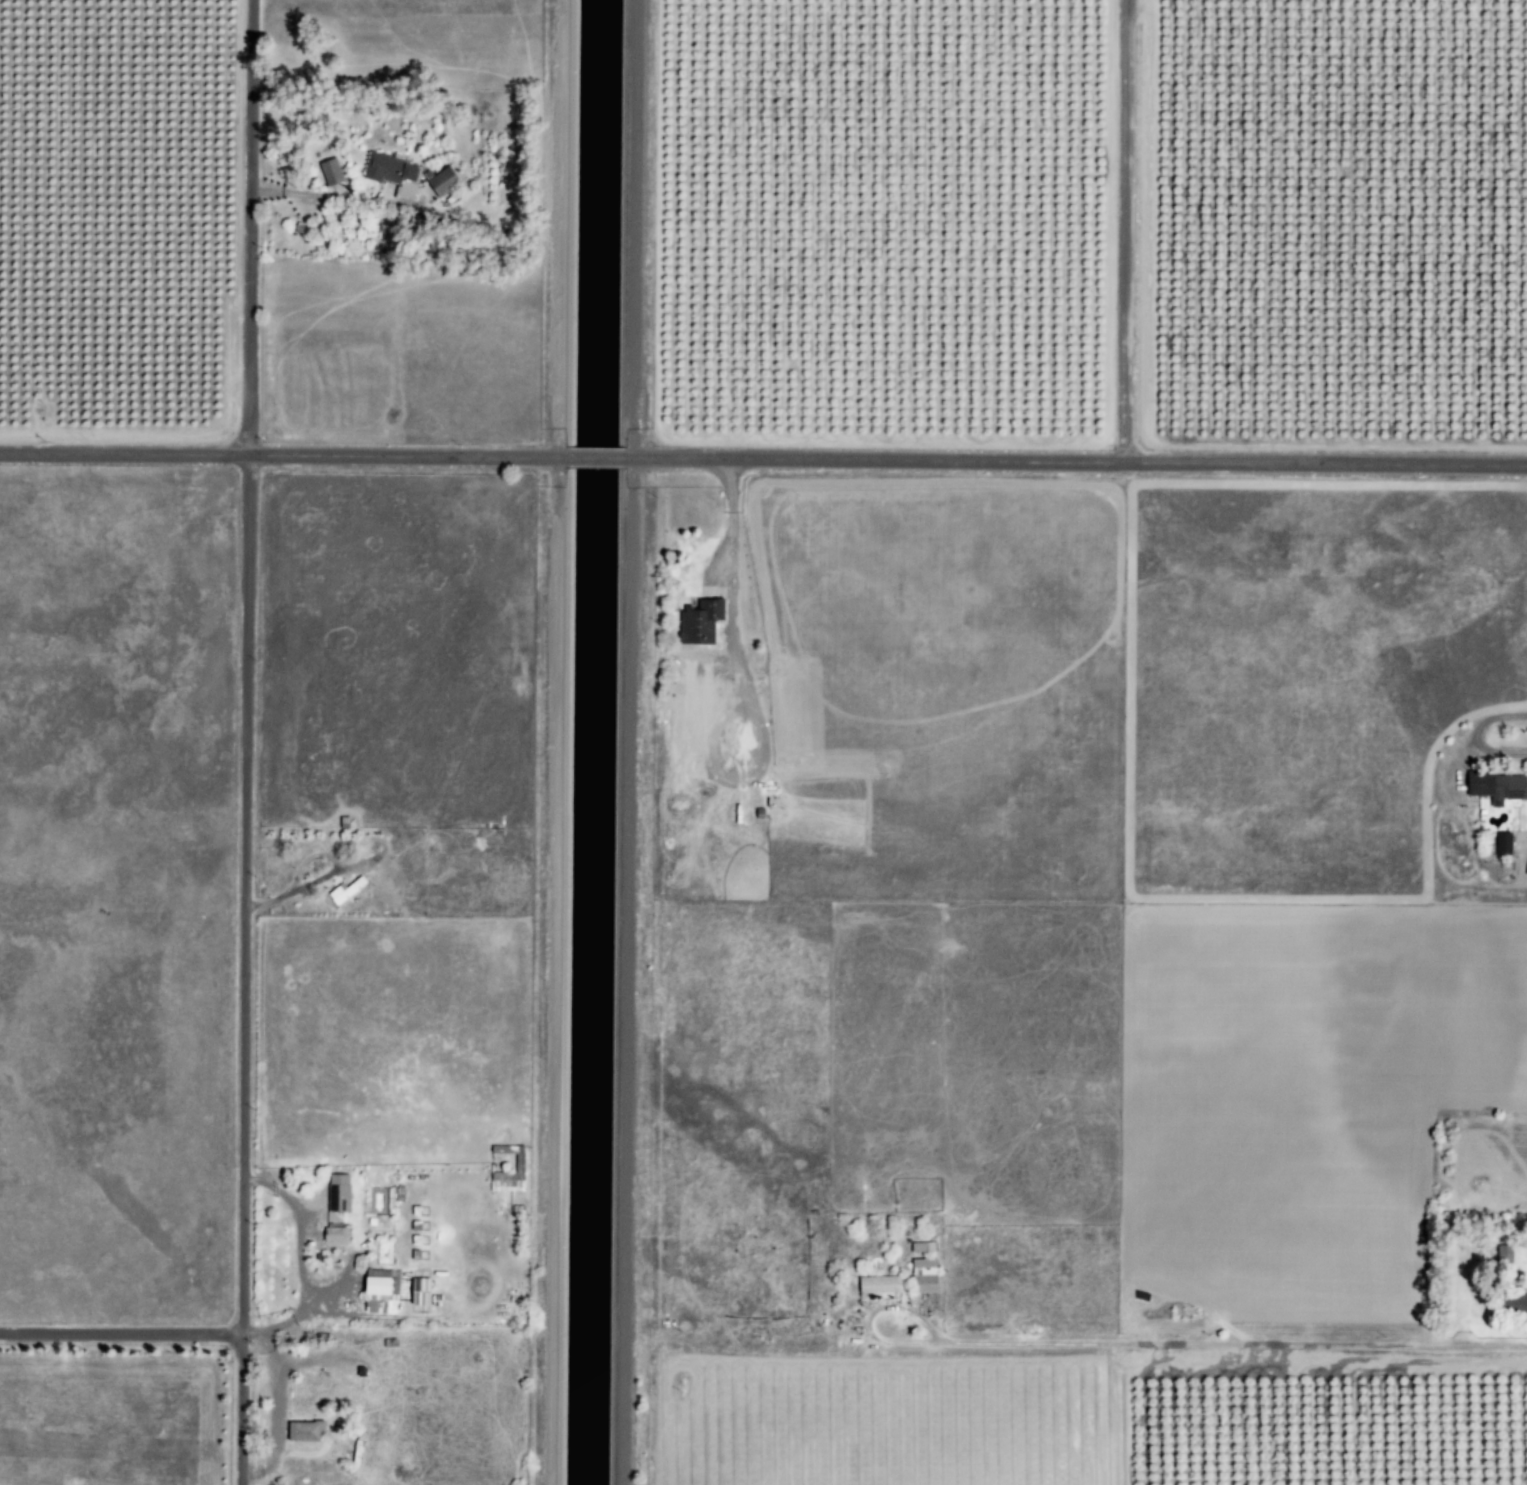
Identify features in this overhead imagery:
building: (327, 172)
building: (389, 172)
building: (438, 181)
road: (557, 227)
road: (633, 228)
road: (1124, 231)
road: (282, 451)
road: (592, 456)
road: (1073, 461)
building: (697, 619)
road: (246, 666)
building: (1493, 786)
building: (1501, 842)
building: (342, 890)
road: (552, 970)
road: (624, 970)
building: (516, 1162)
building: (336, 1192)
building: (332, 1235)
building: (921, 1246)
building: (1502, 1253)
building: (921, 1275)
building: (378, 1284)
building: (876, 1285)
building: (417, 1292)
building: (1511, 1302)
road: (120, 1331)
road: (1092, 1350)
road: (239, 1409)
building: (302, 1433)

